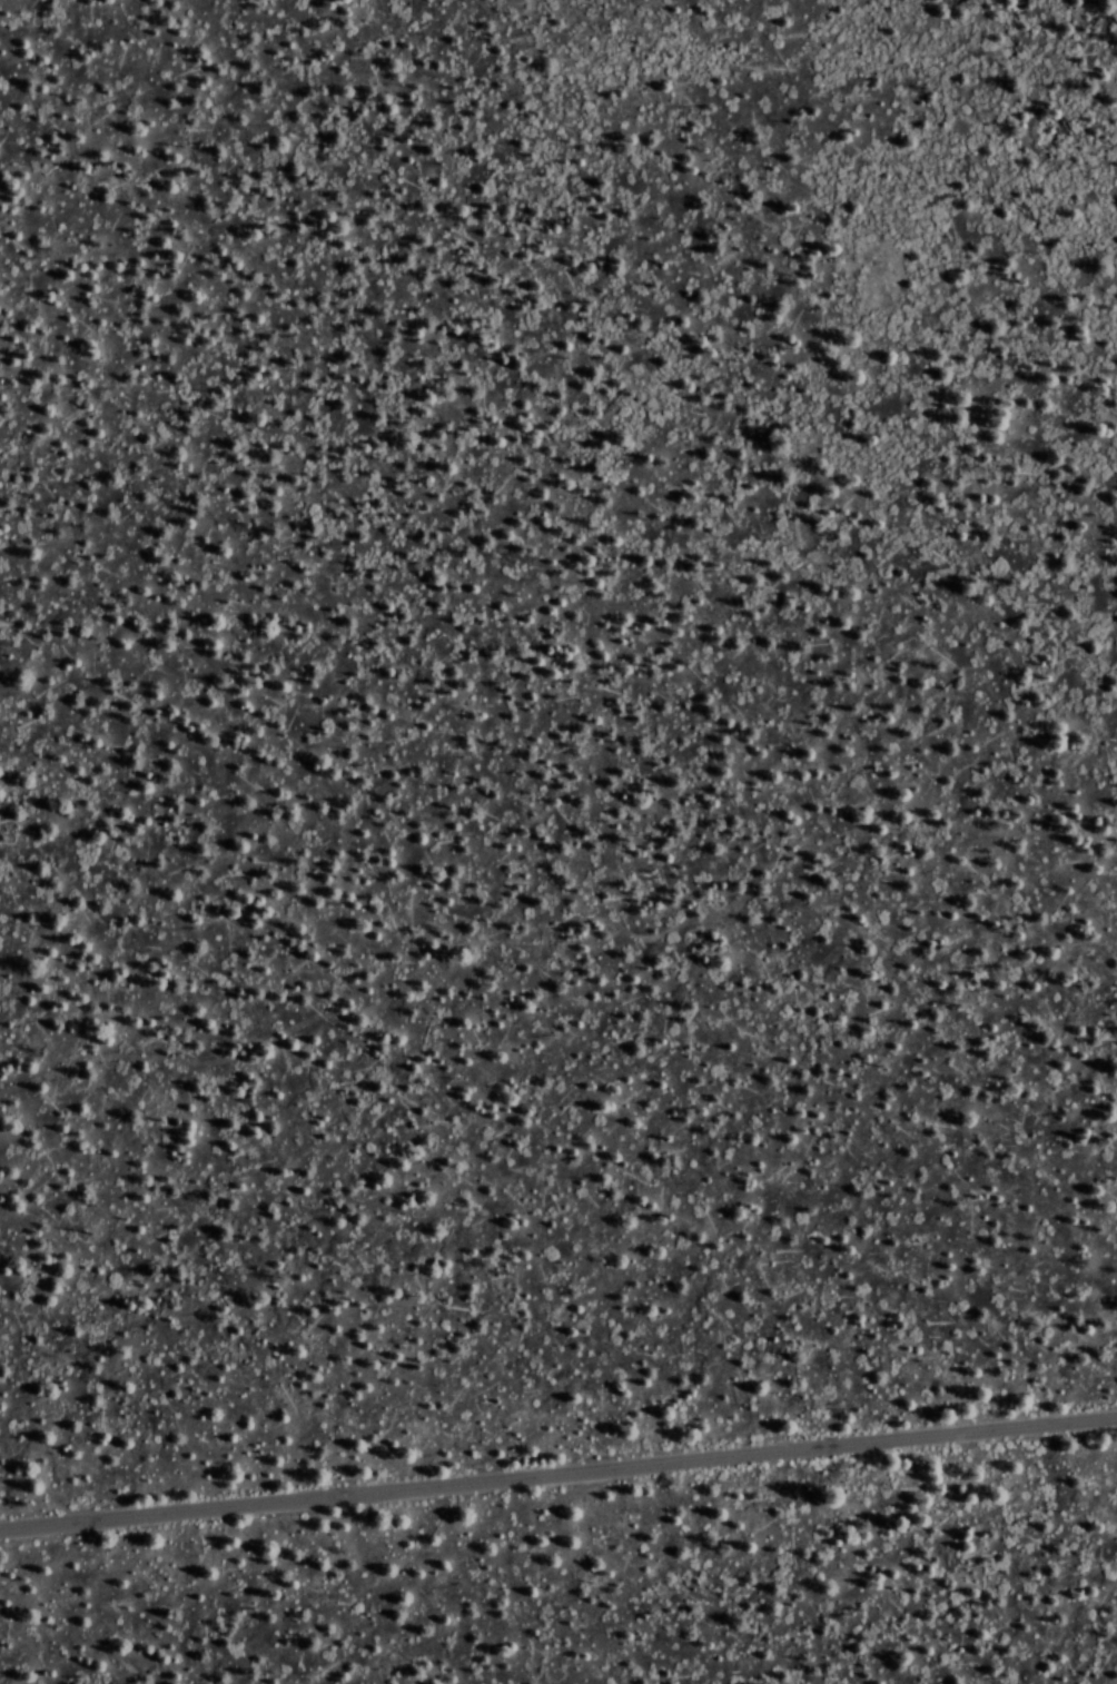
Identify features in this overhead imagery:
road: (558, 1482)

